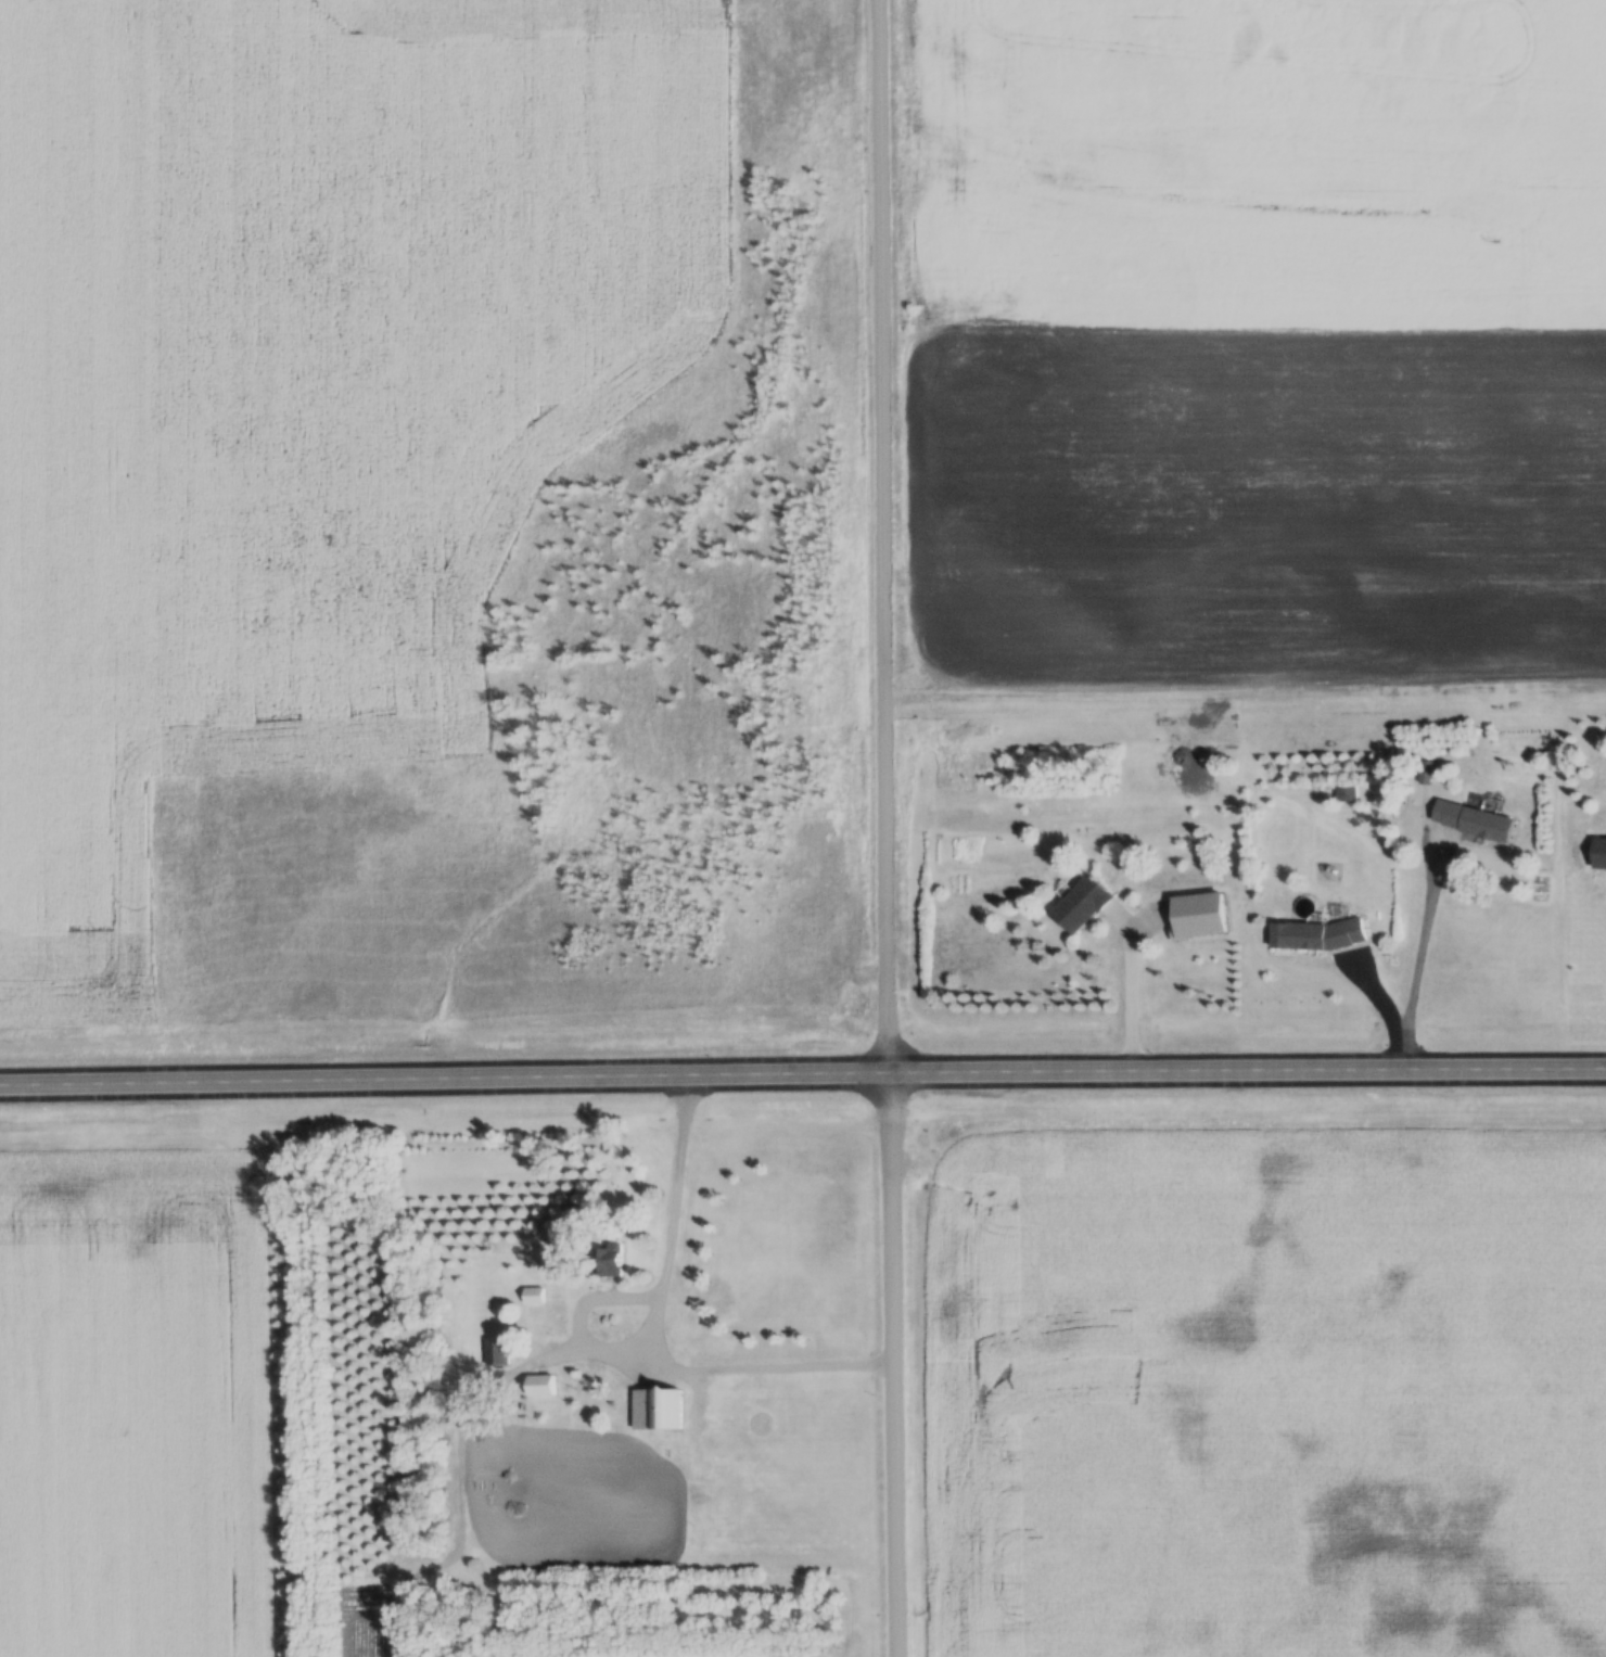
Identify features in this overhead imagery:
building: (1470, 821)
road: (888, 828)
building: (1597, 853)
building: (1076, 904)
building: (1196, 915)
building: (1314, 934)
road: (802, 1080)
building: (538, 1296)
building: (498, 1352)
building: (663, 1409)

